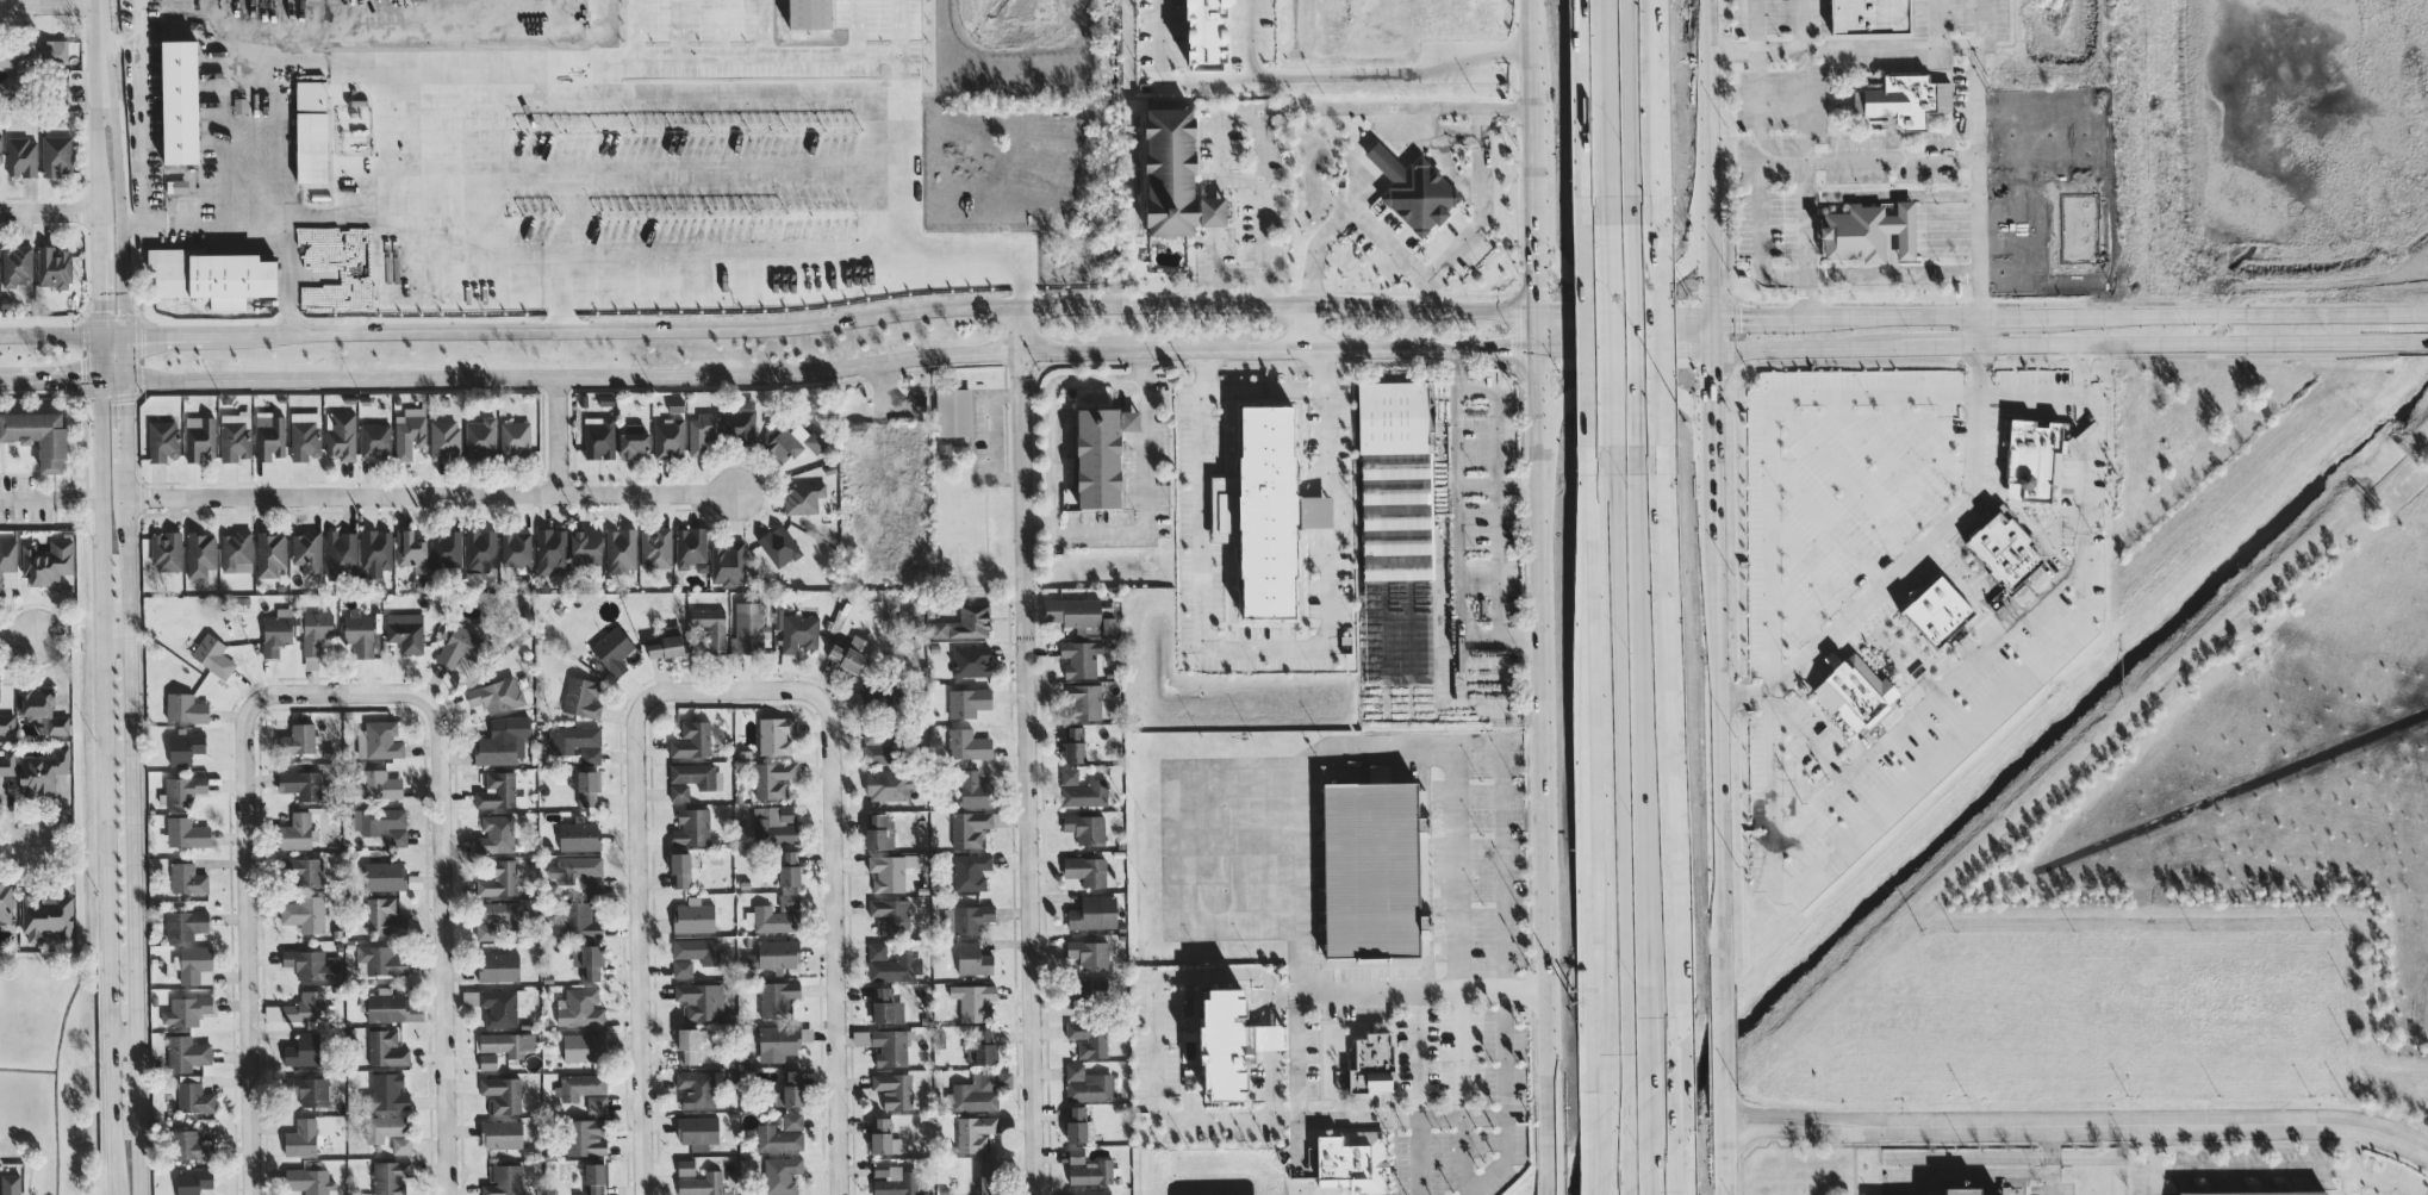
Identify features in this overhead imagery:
road: (48, 5)
building: (805, 13)
building: (1868, 17)
road: (1756, 25)
building: (1203, 33)
road: (1156, 36)
road: (119, 39)
road: (99, 44)
road: (1886, 46)
building: (51, 50)
road: (1536, 70)
road: (1976, 79)
road: (1355, 81)
road: (1196, 91)
building: (179, 101)
building: (1903, 101)
road: (1377, 108)
road: (139, 112)
road: (1630, 114)
road: (1604, 118)
road: (1430, 126)
road: (1803, 139)
building: (1, 148)
road: (423, 149)
building: (55, 154)
building: (21, 156)
road: (1707, 158)
road: (1969, 161)
road: (504, 176)
building: (1172, 176)
road: (1239, 178)
road: (1758, 181)
building: (1413, 191)
road: (566, 192)
road: (1536, 193)
road: (278, 198)
road: (1346, 201)
road: (1477, 205)
road: (1212, 206)
road: (1259, 206)
road: (46, 211)
road: (201, 225)
building: (1868, 231)
road: (120, 232)
road: (1396, 253)
building: (15, 266)
building: (52, 266)
road: (1633, 270)
road: (1893, 272)
building: (208, 273)
road: (1237, 278)
traffic signals: (1536, 288)
traffic signals: (1567, 311)
road: (1624, 312)
road: (2071, 316)
traffic signals: (1739, 317)
road: (768, 328)
road: (1306, 328)
building: (1583, 331)
road: (1982, 332)
road: (1712, 335)
road: (2069, 347)
traffic signals: (1508, 351)
road: (1624, 353)
traffic signals: (1689, 353)
road: (1638, 354)
road: (1610, 360)
road: (834, 368)
road: (114, 378)
road: (60, 379)
traffic signals: (1711, 379)
road: (10, 380)
road: (1613, 392)
road: (1924, 392)
road: (1710, 394)
building: (676, 404)
building: (953, 412)
road: (1054, 415)
building: (741, 421)
building: (702, 432)
road: (555, 435)
building: (37, 436)
building: (269, 436)
building: (599, 437)
building: (668, 437)
road: (1928, 438)
building: (634, 440)
building: (792, 442)
building: (1097, 456)
road: (1886, 458)
building: (2034, 458)
road: (1841, 473)
road: (1710, 479)
building: (1394, 480)
road: (1320, 483)
road: (1500, 485)
road: (1493, 493)
road: (434, 494)
road: (1148, 494)
building: (803, 497)
road: (50, 499)
road: (1611, 504)
road: (1316, 510)
building: (1265, 511)
road: (1825, 523)
road: (1459, 534)
road: (1320, 537)
road: (1923, 542)
building: (778, 546)
building: (585, 547)
building: (655, 547)
building: (690, 547)
building: (516, 548)
building: (306, 549)
building: (446, 549)
building: (480, 549)
building: (2004, 549)
building: (167, 550)
building: (411, 550)
building: (621, 550)
building: (236, 552)
building: (270, 553)
building: (200, 554)
building: (375, 554)
building: (552, 554)
building: (341, 556)
building: (7, 559)
building: (48, 561)
building: (728, 564)
road: (1811, 570)
building: (1937, 611)
building: (1075, 615)
road: (1795, 615)
building: (964, 623)
building: (1108, 625)
building: (710, 627)
building: (748, 628)
building: (276, 631)
building: (405, 631)
building: (1397, 631)
road: (117, 633)
building: (359, 633)
building: (795, 635)
road: (19, 636)
building: (313, 636)
road: (1770, 639)
road: (104, 641)
building: (666, 643)
building: (457, 646)
road: (1265, 646)
building: (612, 649)
building: (851, 653)
building: (212, 655)
building: (1081, 656)
building: (971, 661)
road: (2027, 666)
building: (1855, 692)
building: (496, 695)
road: (1745, 695)
building: (581, 697)
road: (1926, 699)
building: (1083, 701)
building: (967, 702)
road: (1544, 707)
building: (185, 708)
building: (42, 710)
building: (7, 723)
building: (774, 735)
road: (1805, 736)
building: (298, 739)
building: (379, 740)
building: (692, 740)
building: (503, 742)
building: (579, 742)
building: (1075, 743)
building: (967, 745)
building: (183, 747)
building: (879, 747)
road: (1394, 748)
road: (1023, 749)
road: (1646, 759)
building: (7, 761)
road: (1718, 761)
building: (42, 771)
building: (692, 778)
building: (773, 779)
building: (300, 784)
building: (380, 784)
building: (889, 784)
road: (133, 786)
building: (587, 788)
building: (973, 789)
building: (182, 790)
building: (497, 790)
building: (1082, 790)
road: (1614, 795)
building: (382, 823)
building: (774, 824)
building: (691, 827)
building: (970, 828)
building: (1085, 828)
building: (186, 832)
building: (295, 832)
building: (880, 832)
building: (496, 834)
building: (579, 835)
road: (20, 847)
building: (1365, 861)
building: (789, 867)
building: (680, 869)
building: (1087, 870)
building: (889, 871)
building: (970, 871)
building: (578, 872)
building: (385, 876)
building: (187, 878)
building: (498, 878)
road: (635, 900)
road: (247, 901)
building: (789, 901)
road: (833, 901)
road: (441, 902)
building: (6, 903)
building: (1094, 913)
building: (305, 914)
building: (891, 914)
building: (46, 915)
building: (382, 916)
building: (693, 916)
building: (496, 917)
building: (971, 919)
building: (772, 920)
building: (947, 920)
building: (579, 921)
building: (185, 925)
building: (697, 950)
building: (1089, 953)
building: (773, 956)
building: (381, 959)
building: (973, 959)
building: (587, 960)
building: (311, 964)
building: (891, 964)
building: (193, 965)
road: (1295, 965)
building: (498, 966)
building: (681, 967)
road: (1459, 971)
road: (1502, 978)
road: (1424, 991)
building: (777, 997)
building: (701, 1000)
building: (973, 1001)
building: (496, 1004)
building: (386, 1006)
building: (305, 1007)
building: (886, 1007)
building: (579, 1008)
building: (186, 1010)
road: (93, 1027)
road: (125, 1034)
building: (1088, 1038)
building: (782, 1041)
building: (508, 1042)
building: (689, 1044)
building: (1231, 1044)
road: (1723, 1046)
building: (583, 1047)
building: (386, 1048)
building: (982, 1048)
road: (1151, 1048)
building: (303, 1051)
building: (186, 1053)
building: (487, 1062)
road: (26, 1070)
road: (54, 1072)
building: (1087, 1084)
building: (696, 1089)
building: (894, 1089)
building: (309, 1090)
building: (584, 1090)
building: (790, 1090)
building: (979, 1090)
building: (388, 1091)
road: (1420, 1093)
building: (502, 1094)
building: (194, 1096)
road: (1657, 1106)
road: (1808, 1115)
road: (1401, 1118)
road: (2164, 1122)
building: (1077, 1124)
building: (385, 1127)
road: (1623, 1127)
building: (696, 1129)
road: (1613, 1129)
road: (1808, 1132)
building: (500, 1133)
building: (782, 1133)
building: (975, 1133)
building: (883, 1137)
building: (300, 1138)
building: (585, 1138)
road: (1724, 1141)
building: (191, 1145)
building: (401, 1145)
road: (2155, 1145)
building: (1076, 1154)
road: (2049, 1159)
road: (2348, 1159)
building: (1352, 1160)
road: (29, 1162)
road: (2237, 1168)
building: (1091, 1172)
building: (780, 1174)
building: (391, 1177)
building: (988, 1177)
building: (594, 1178)
building: (697, 1180)
building: (892, 1180)
building: (193, 1181)
building: (309, 1181)
building: (504, 1181)
road: (1556, 1182)
building: (10, 1184)
road: (1661, 1184)
road: (1662, 1184)
building: (1090, 1191)
building: (1960, 1191)
road: (1626, 1193)
building: (2259, 1193)

